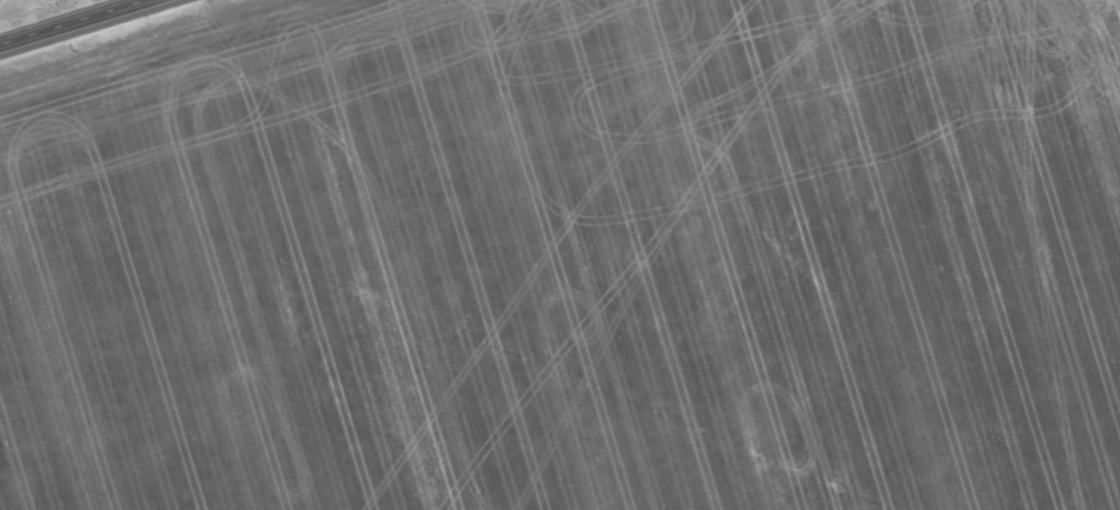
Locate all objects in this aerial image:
road: (81, 24)

